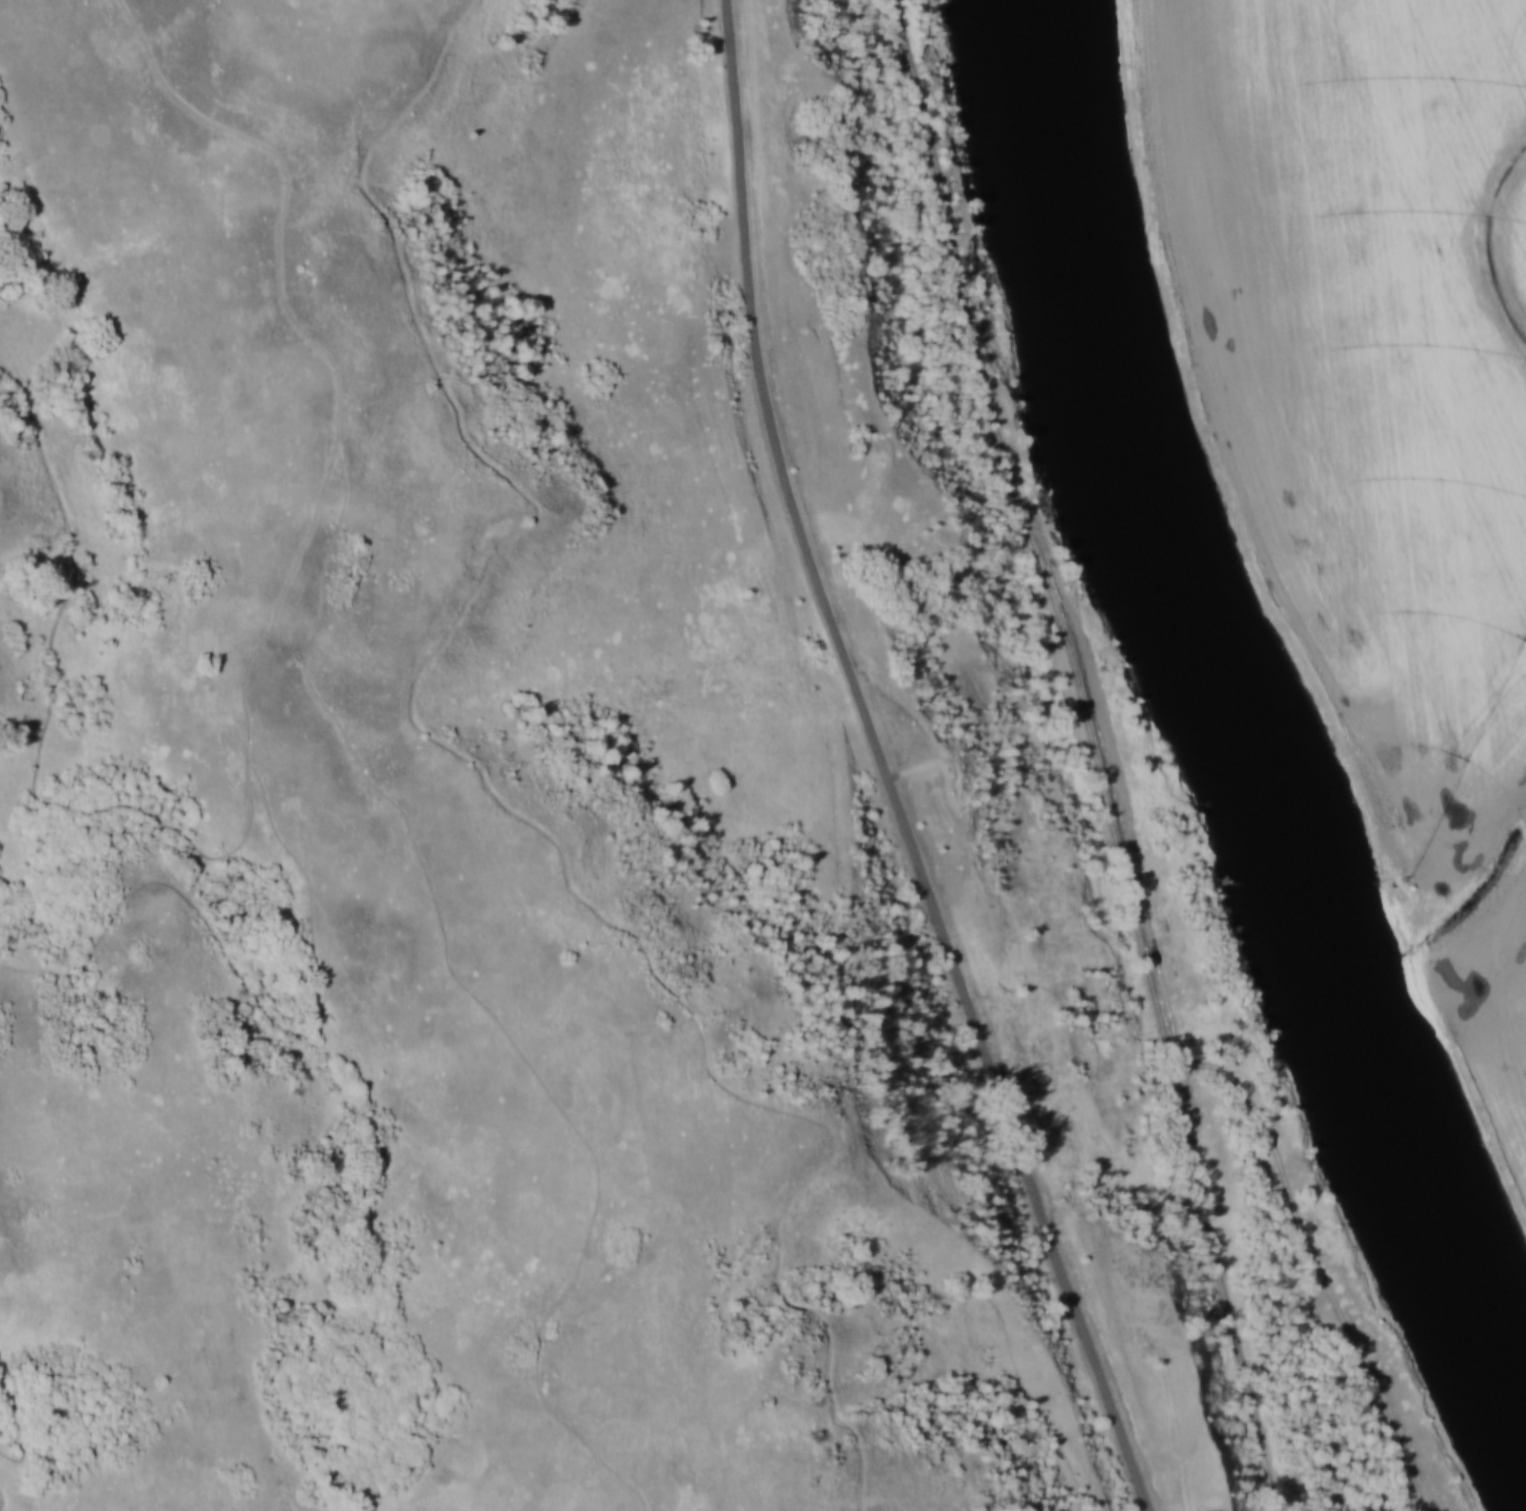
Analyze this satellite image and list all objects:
river: (1241, 720)
railway: (1093, 755)
road: (937, 761)
road: (885, 766)
park: (641, 808)

